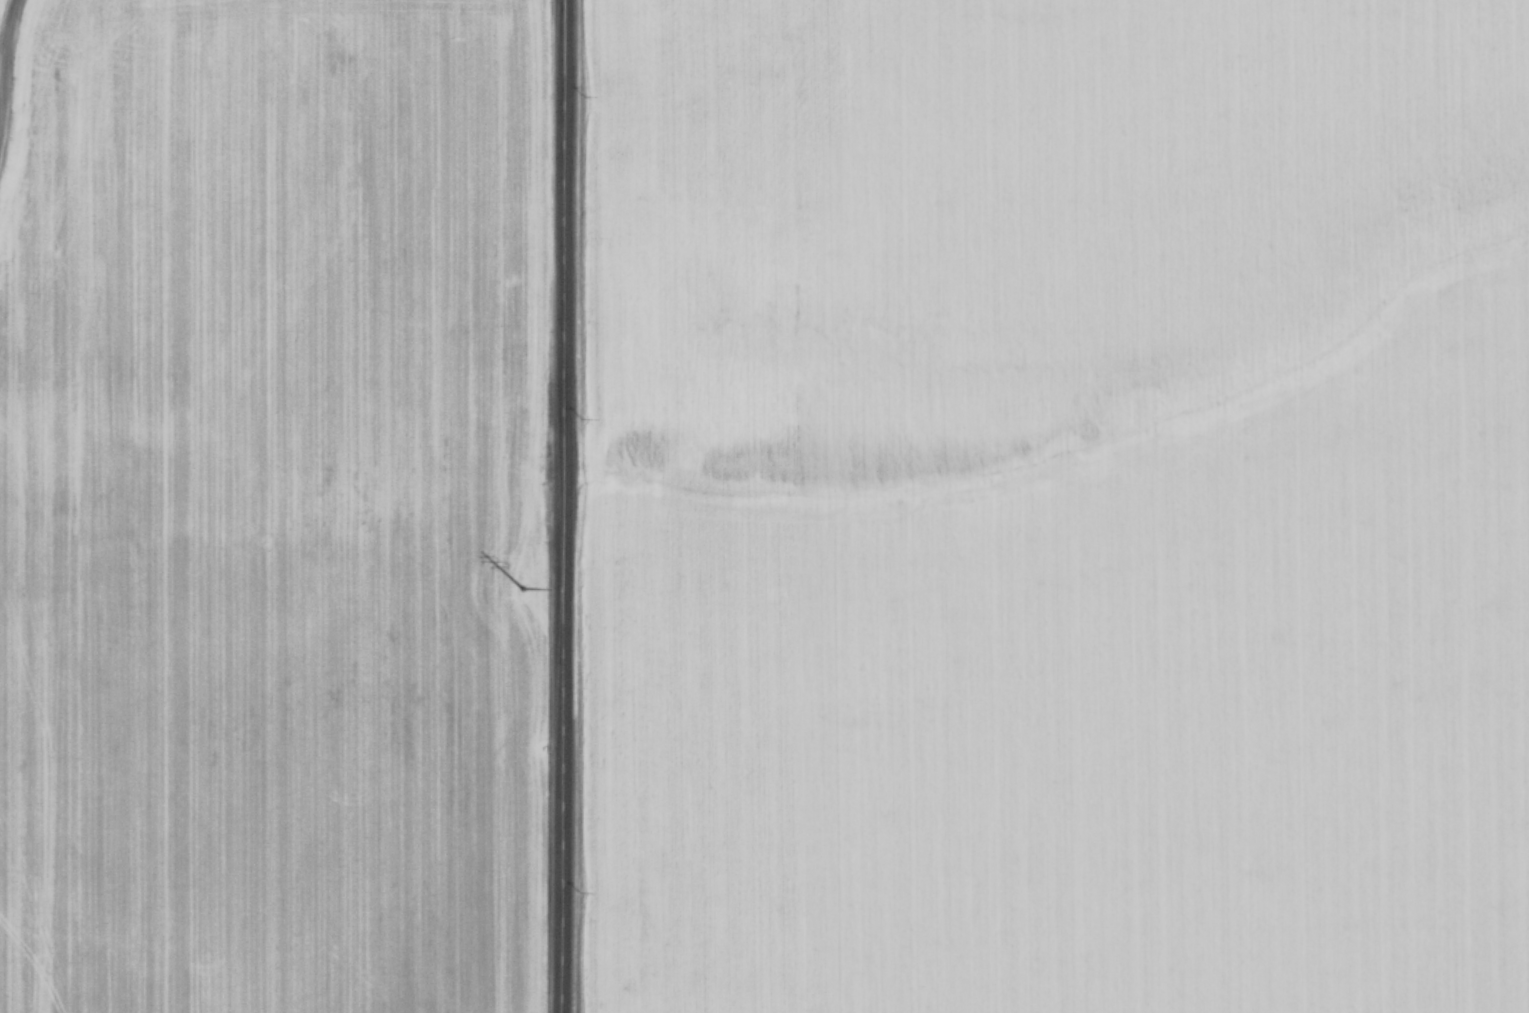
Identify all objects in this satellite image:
road: (4, 17)
road: (558, 506)
power tower: (517, 588)

